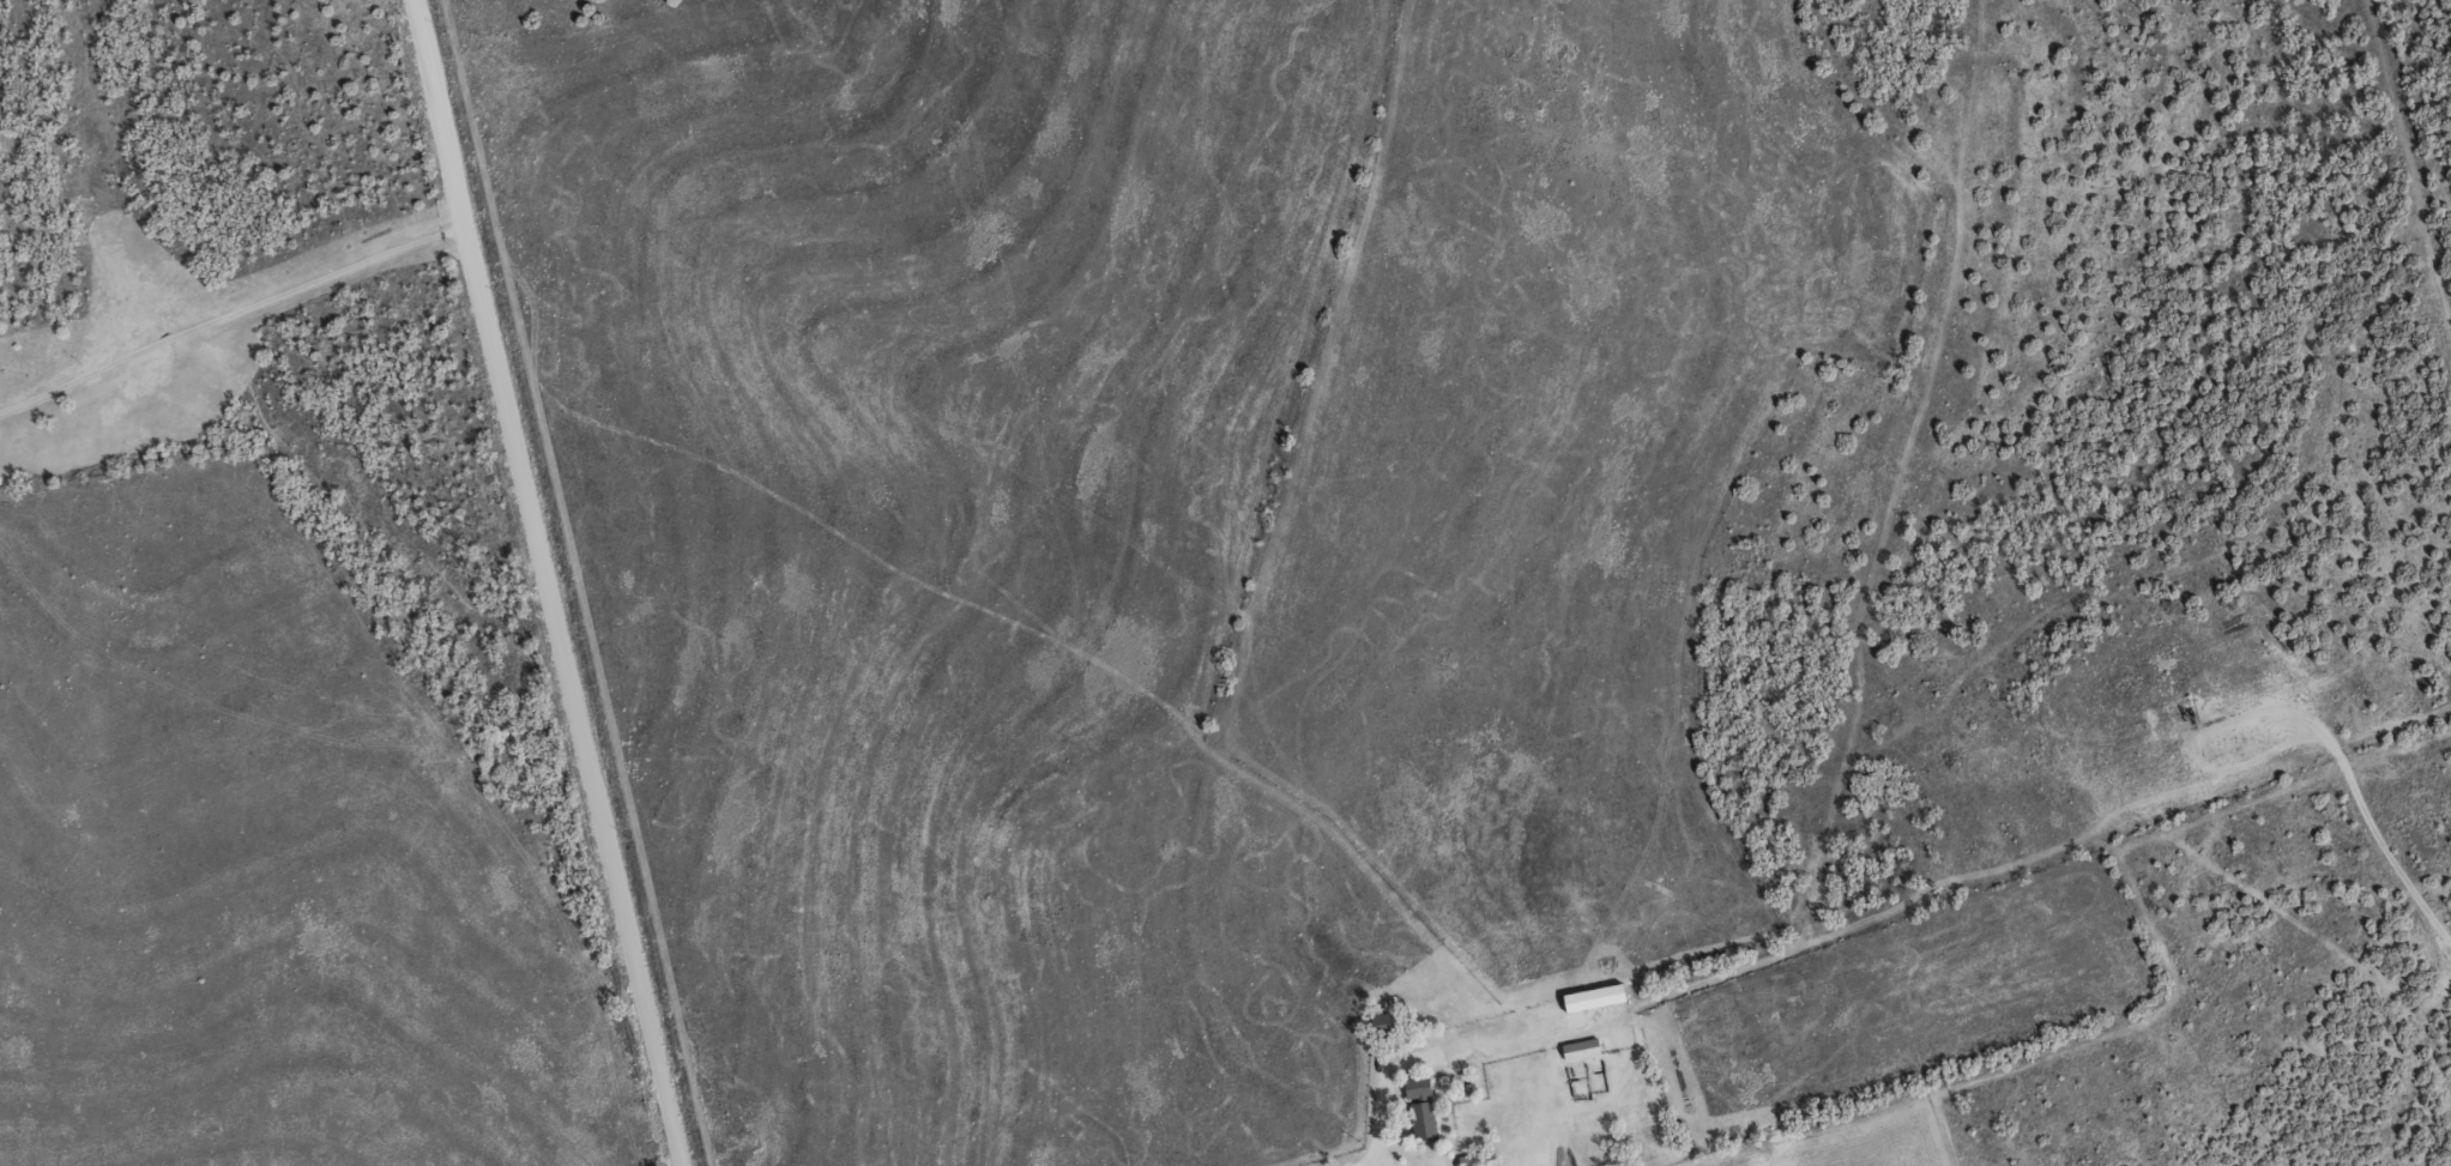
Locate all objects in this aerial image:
road: (229, 320)
road: (542, 582)
building: (1595, 997)
building: (1581, 1049)
building: (1419, 1088)
road: (1381, 1094)
building: (1424, 1120)
building: (1478, 1159)

